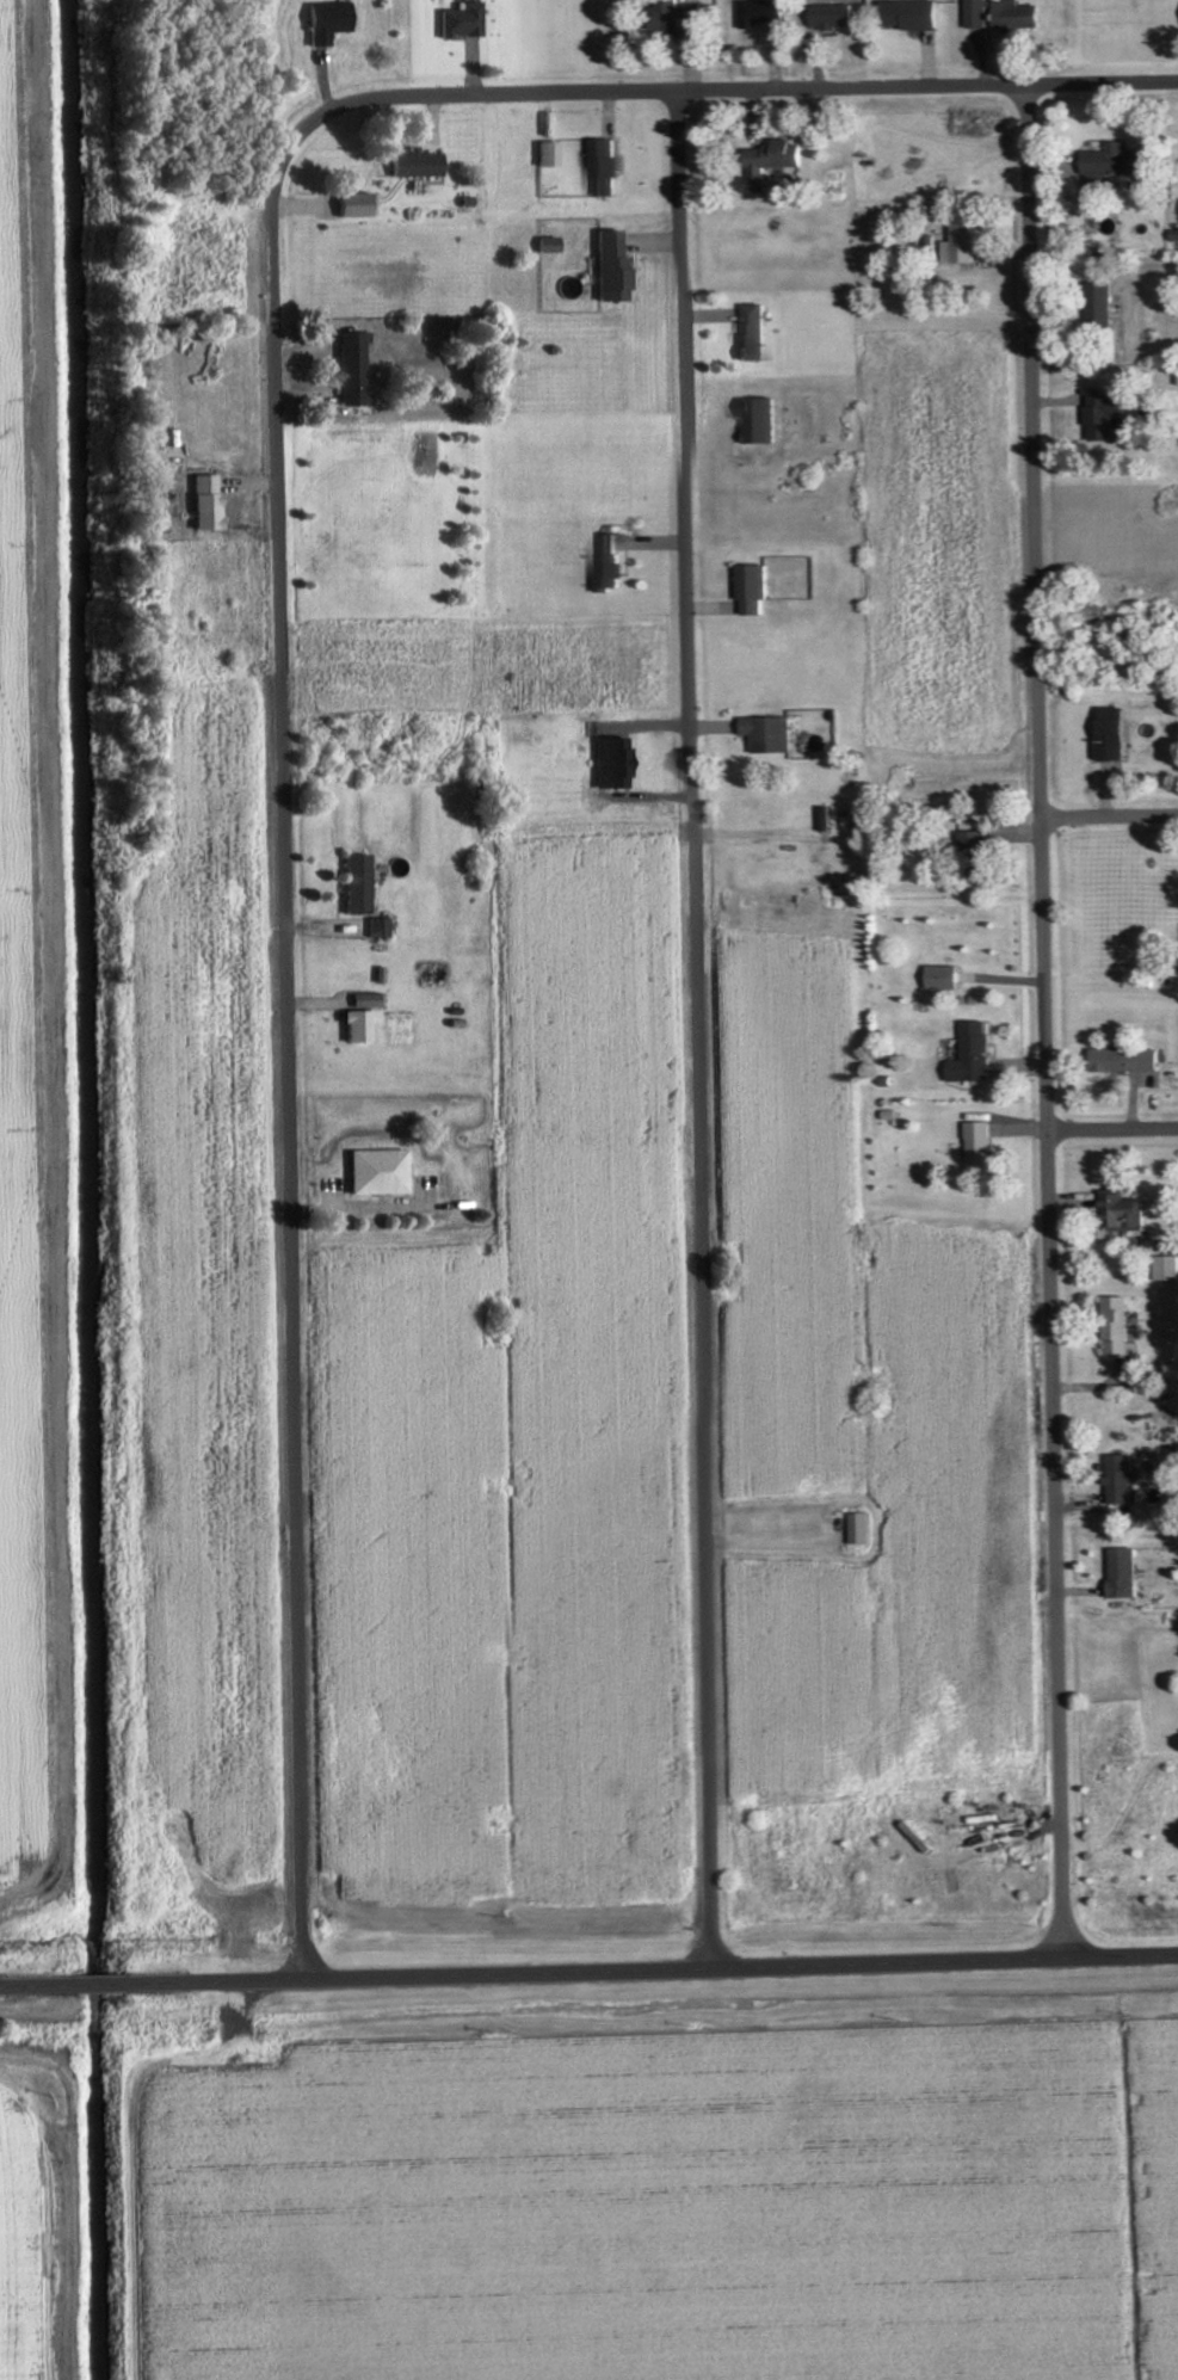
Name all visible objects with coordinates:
building: (766, 13)
building: (979, 14)
building: (914, 16)
building: (838, 17)
building: (1019, 17)
building: (684, 18)
building: (326, 21)
building: (461, 21)
road: (925, 81)
building: (548, 154)
building: (777, 159)
building: (1118, 162)
building: (415, 165)
building: (607, 168)
building: (353, 205)
building: (548, 245)
building: (964, 245)
building: (611, 269)
building: (1104, 303)
building: (757, 333)
building: (352, 370)
building: (1100, 418)
building: (206, 502)
building: (605, 562)
building: (750, 588)
building: (765, 734)
building: (1106, 734)
building: (605, 763)
road: (1108, 812)
building: (968, 843)
road: (279, 853)
building: (358, 883)
building: (377, 927)
road: (50, 974)
building: (938, 979)
road: (1042, 1016)
road: (692, 1024)
building: (357, 1026)
building: (968, 1055)
building: (1120, 1061)
road: (1111, 1124)
building: (975, 1146)
building: (380, 1172)
building: (1117, 1213)
building: (1164, 1269)
building: (1114, 1328)
building: (1115, 1480)
building: (856, 1529)
building: (1118, 1574)
road: (588, 1966)
road: (69, 2195)

